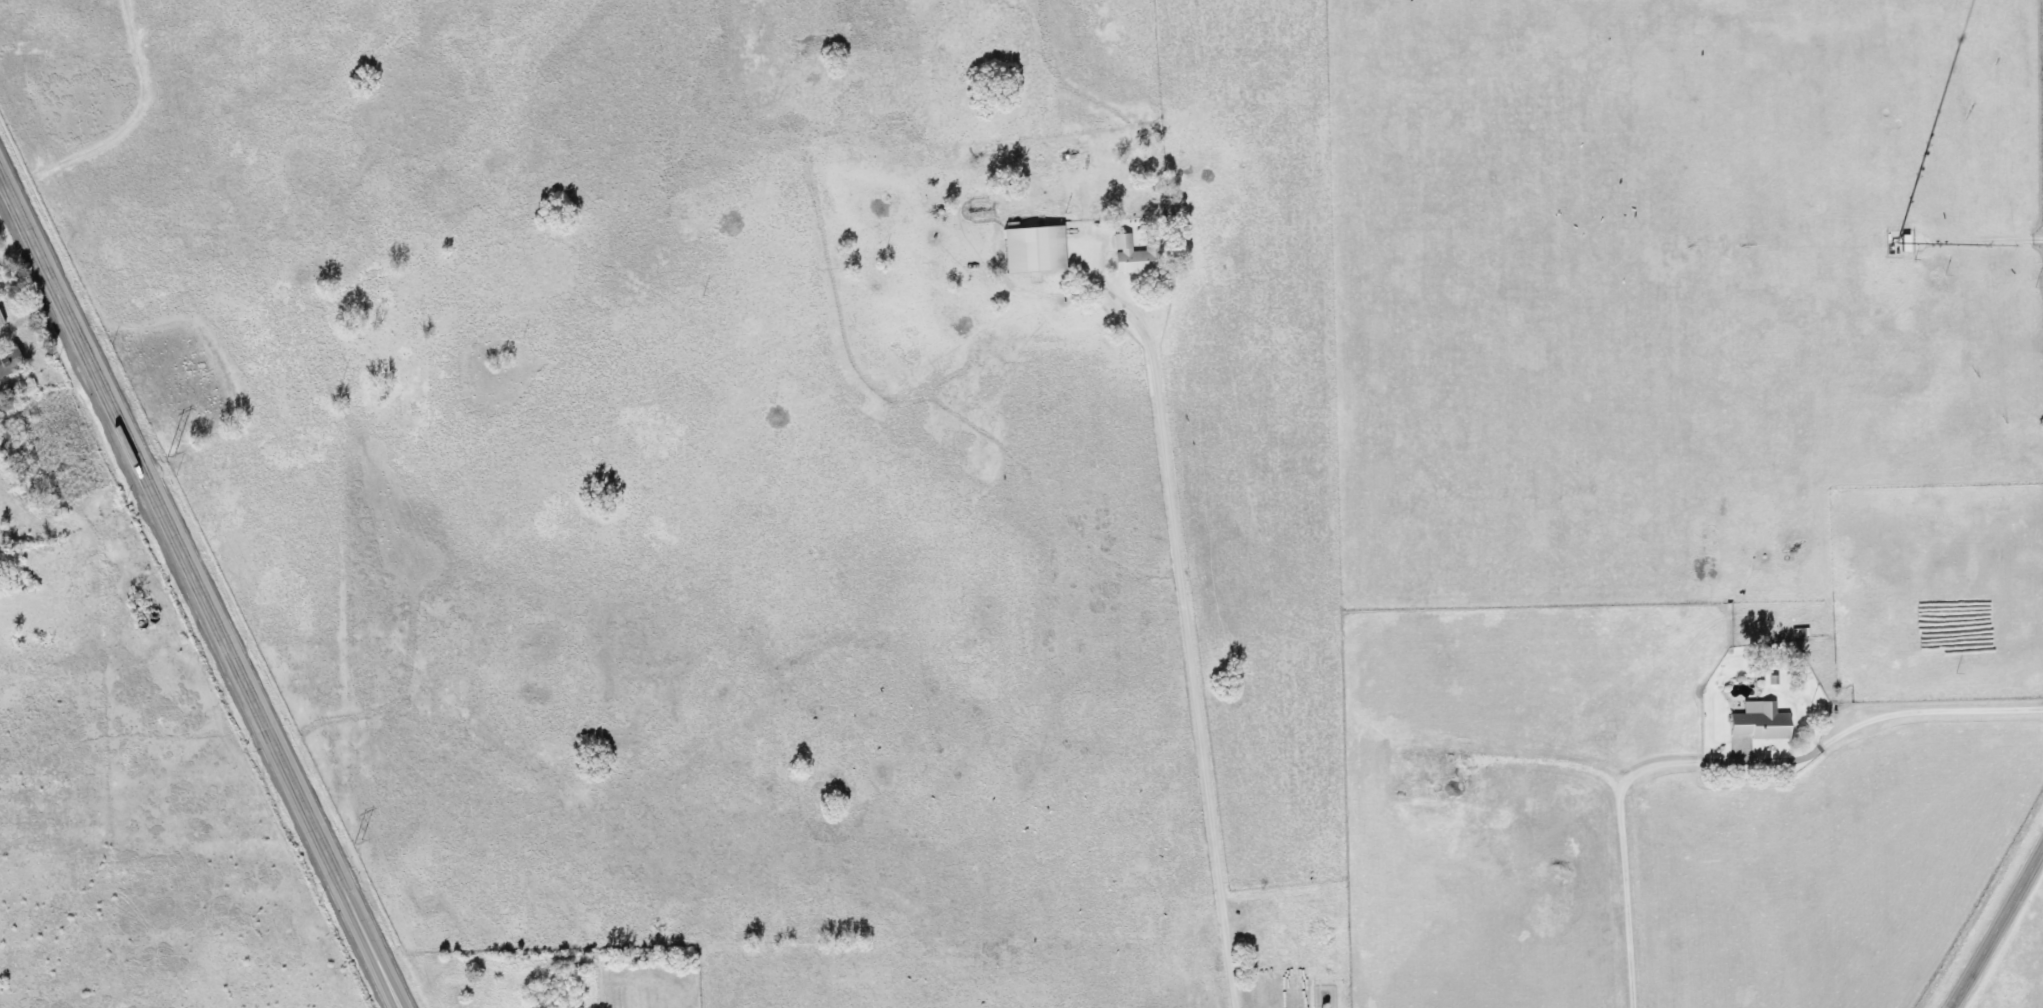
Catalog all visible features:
building: (1030, 249)
building: (1128, 256)
road: (29, 317)
building: (0, 324)
building: (7, 359)
power tower: (170, 454)
road: (200, 592)
road: (1182, 620)
building: (1756, 722)
road: (1718, 756)
power tower: (356, 840)
road: (1996, 925)

